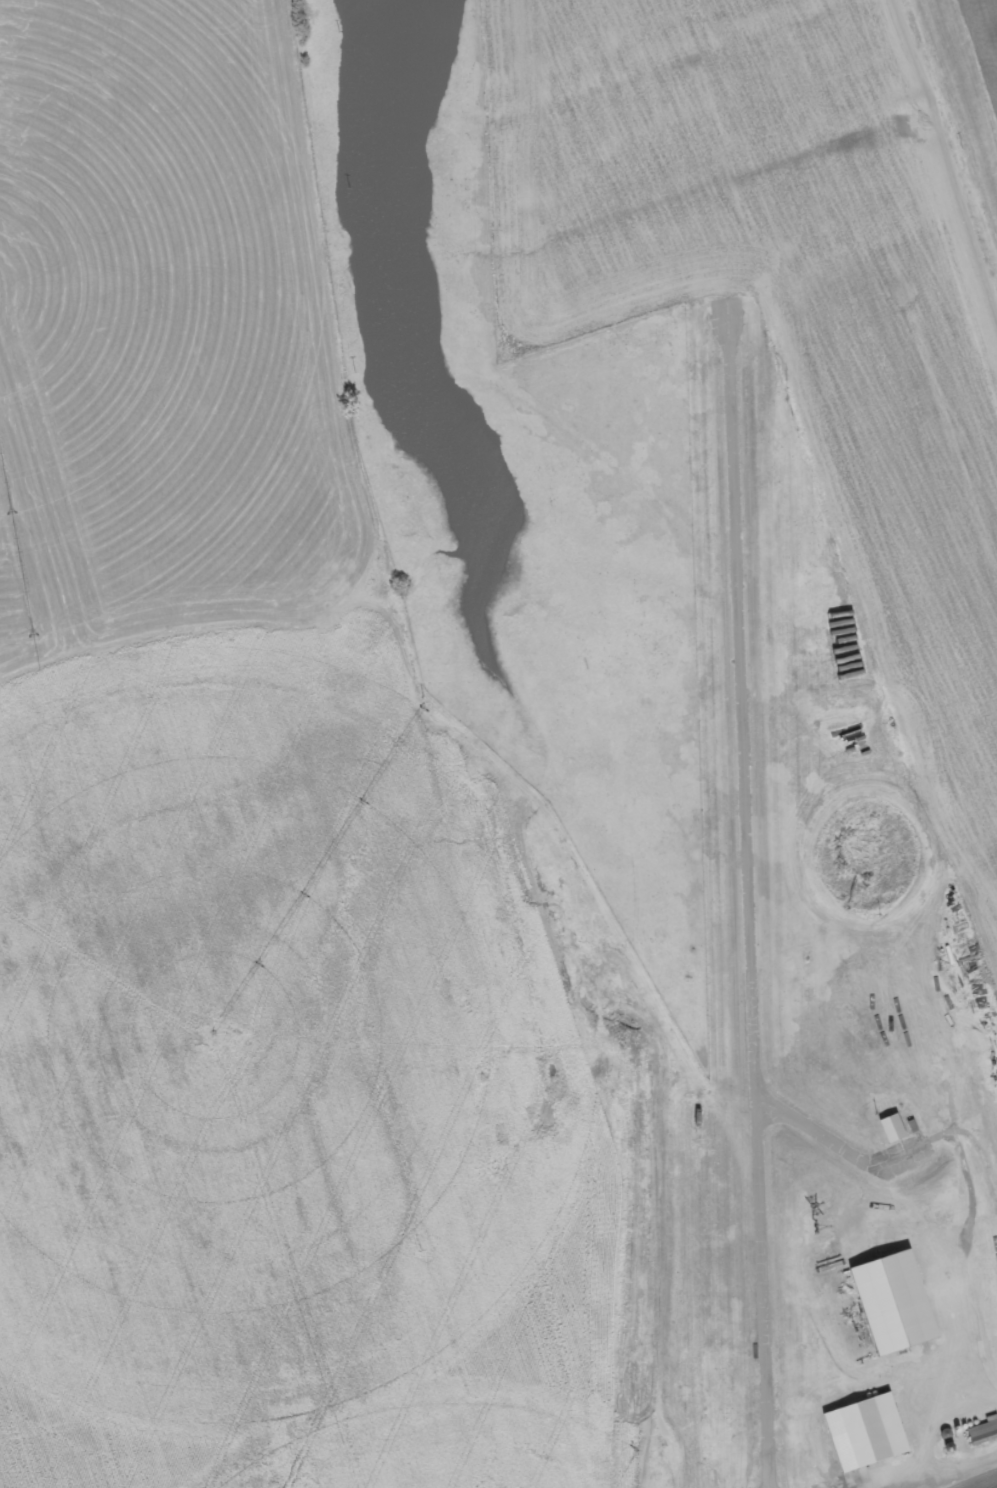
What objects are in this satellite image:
road: (946, 164)
airport runway: (749, 902)
building: (888, 1303)
road: (582, 1353)
building: (863, 1434)

